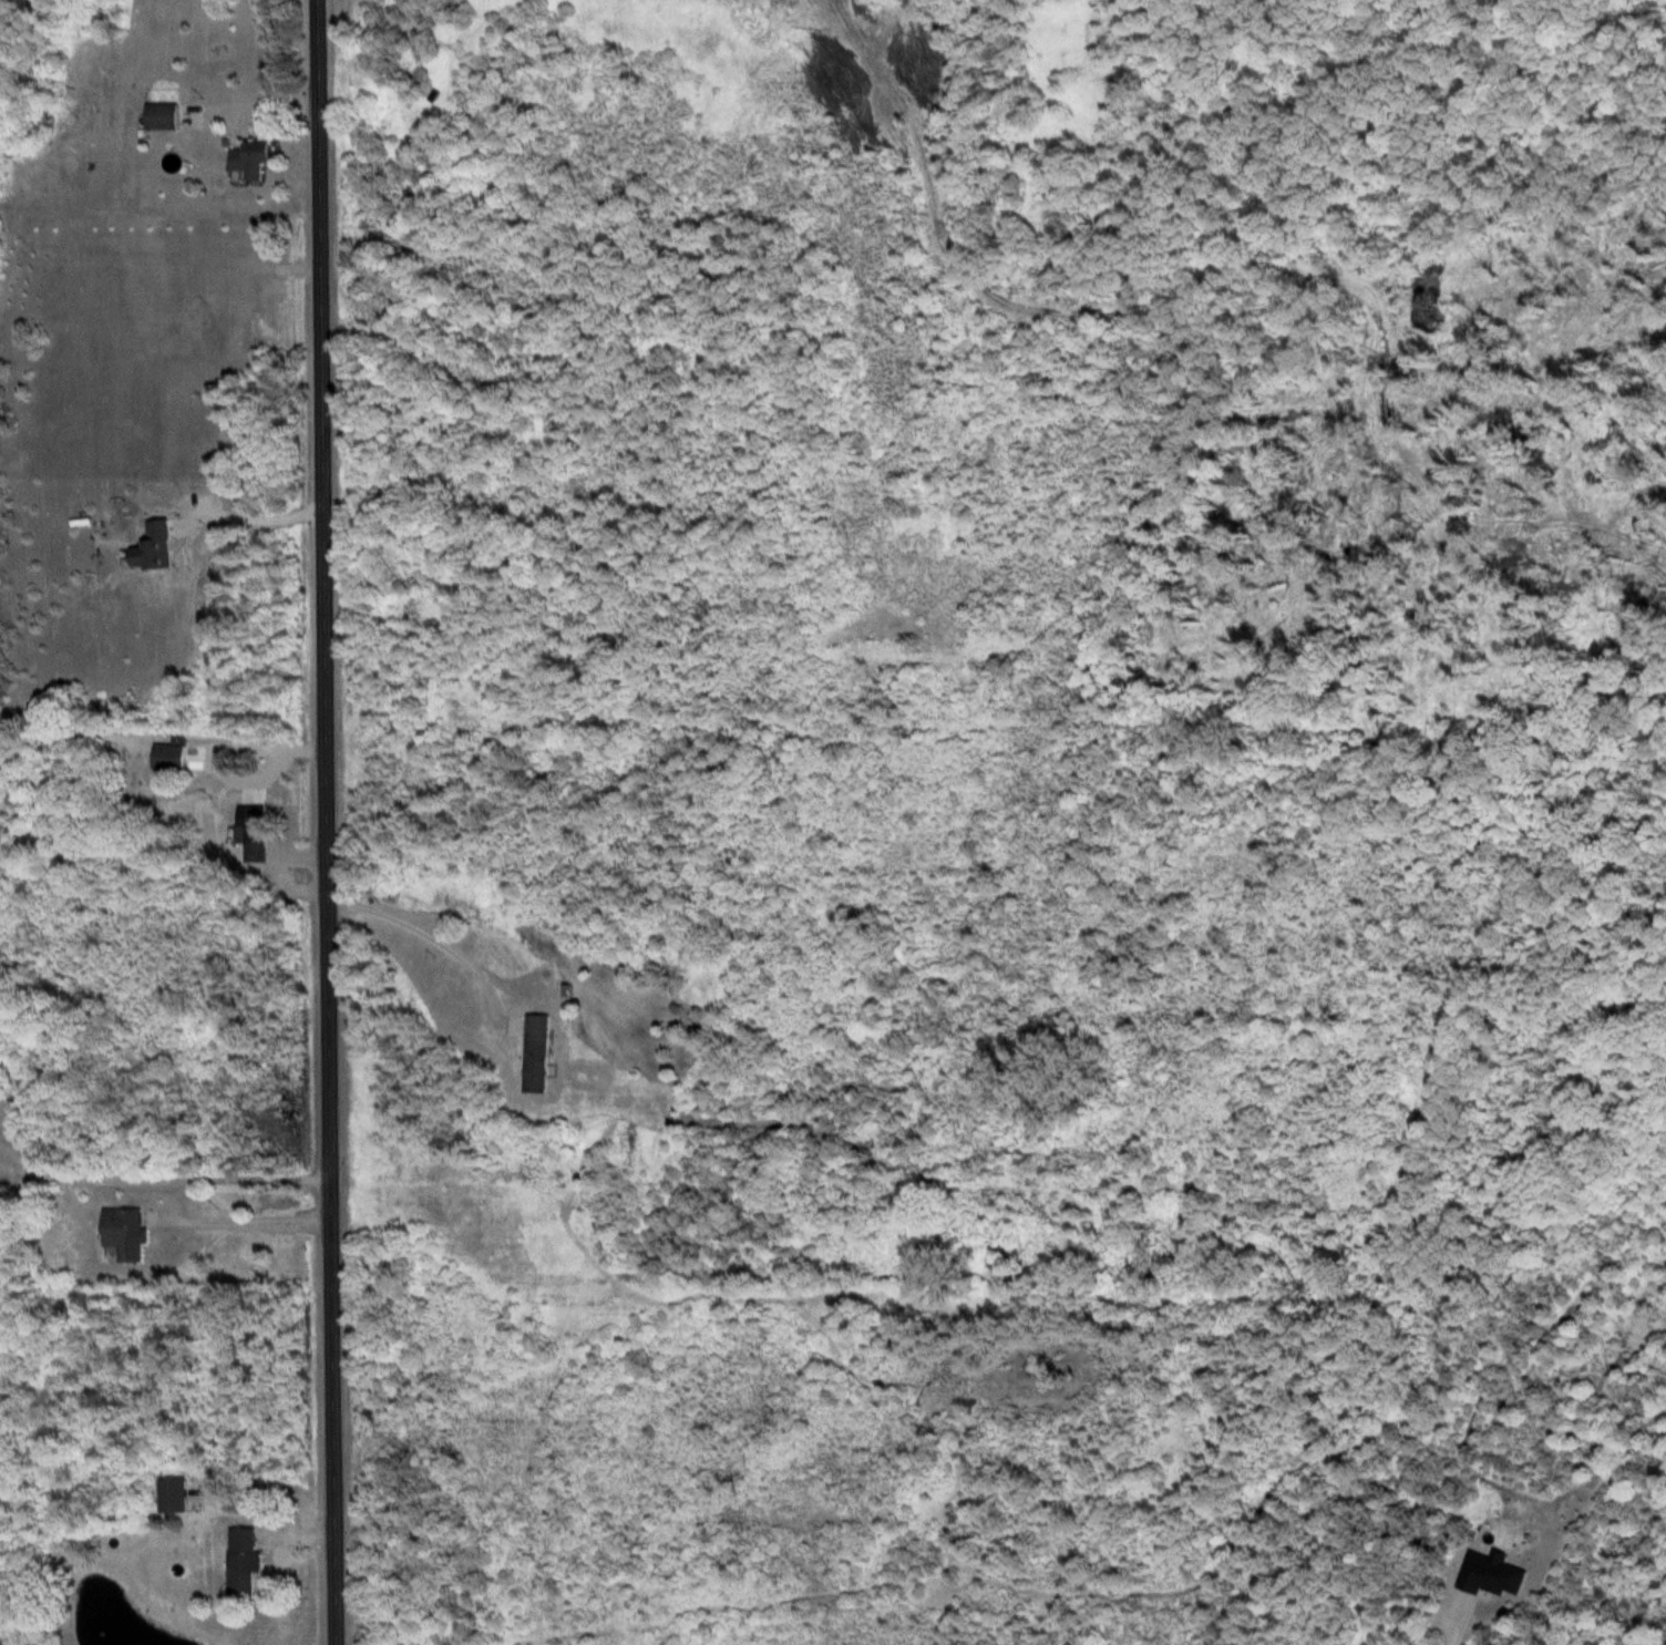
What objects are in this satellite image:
building: (167, 119)
building: (255, 160)
building: (173, 758)
road: (326, 822)
building: (257, 842)
road: (434, 935)
building: (539, 1053)
road: (169, 1178)
building: (131, 1234)
building: (176, 1498)
building: (245, 1563)

